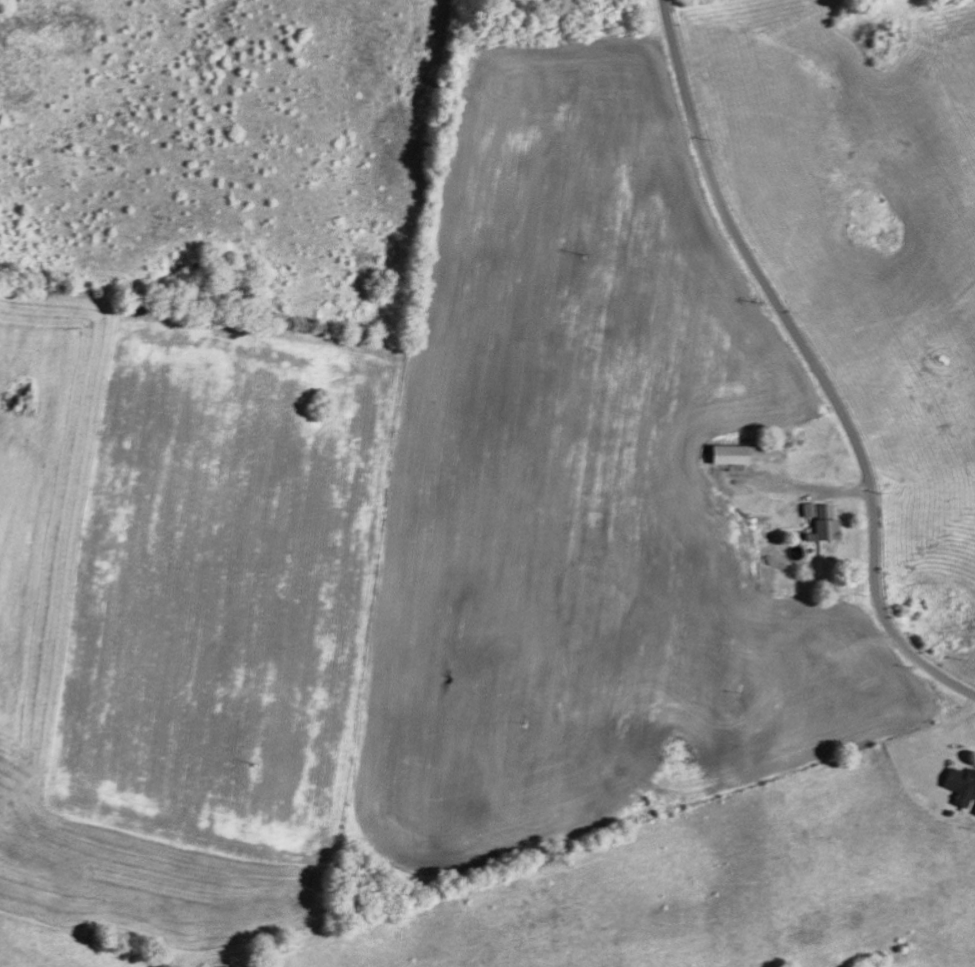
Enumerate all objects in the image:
road: (811, 362)
building: (739, 453)
building: (820, 520)
building: (959, 784)
building: (974, 811)

